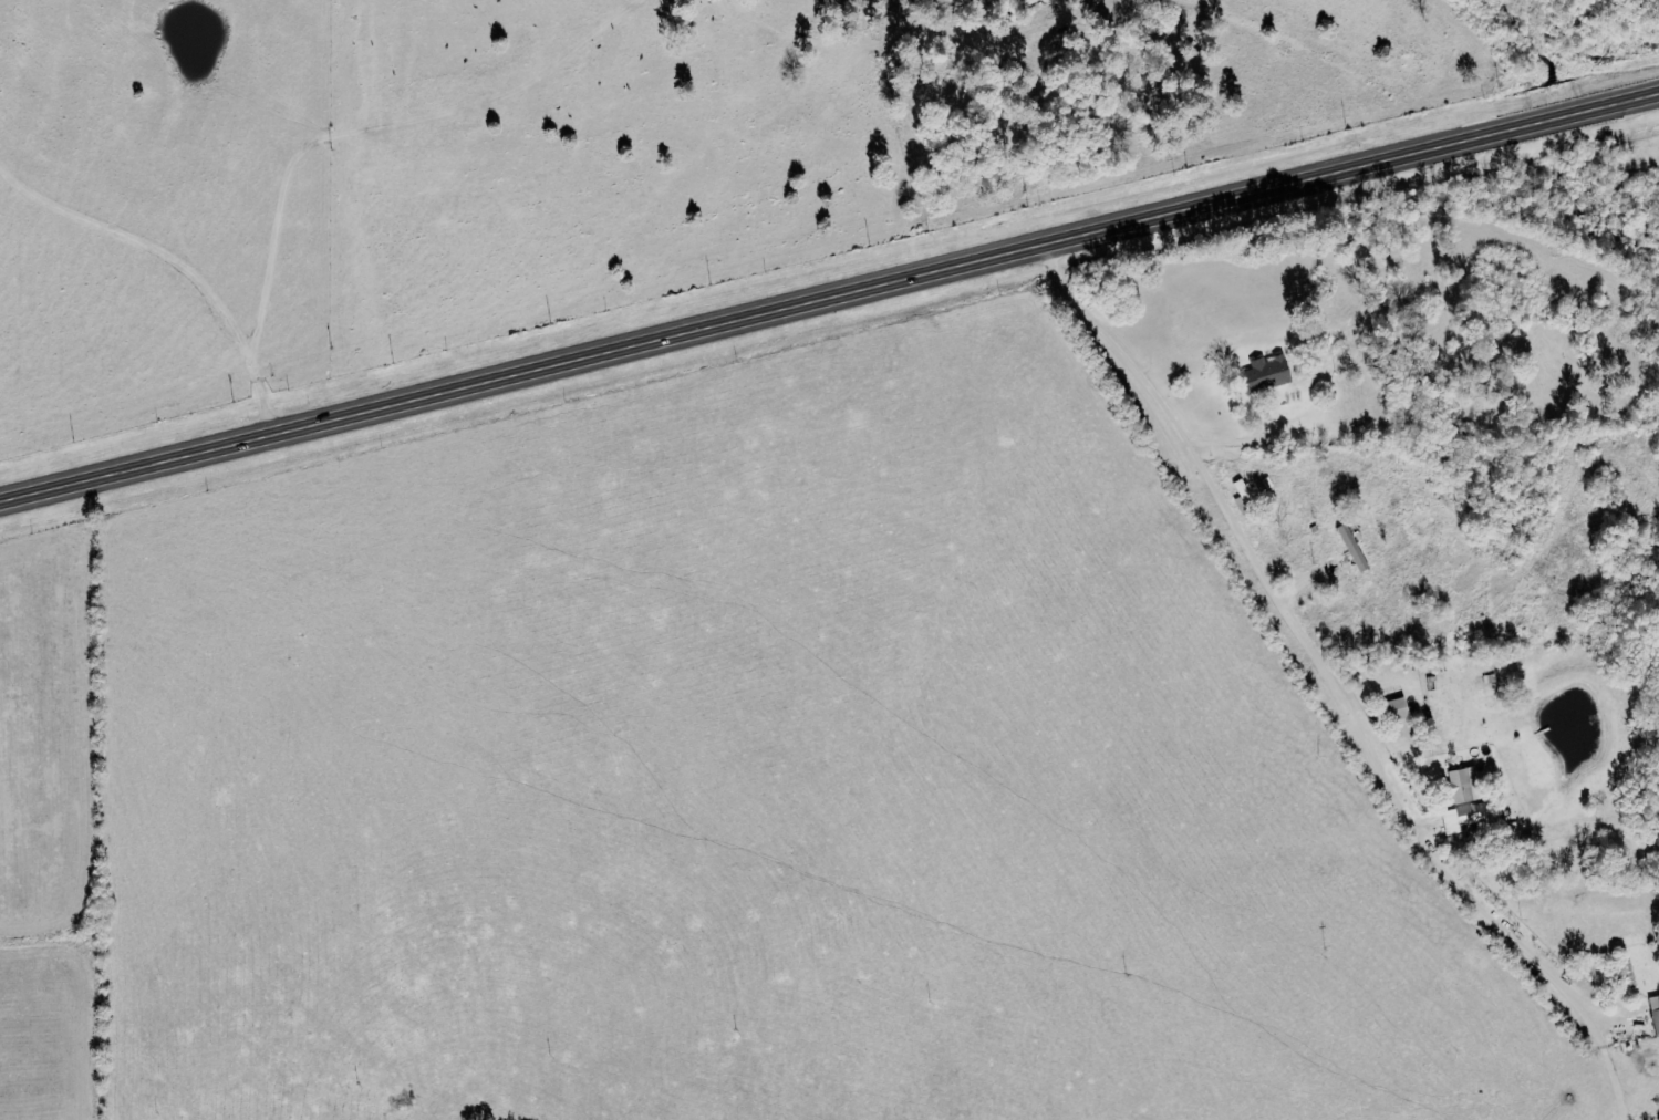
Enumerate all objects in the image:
road: (829, 298)
building: (1265, 374)
road: (1237, 442)
road: (1313, 643)
building: (1397, 708)
building: (1463, 785)
building: (1465, 818)
building: (1655, 1012)
road: (1616, 1070)

